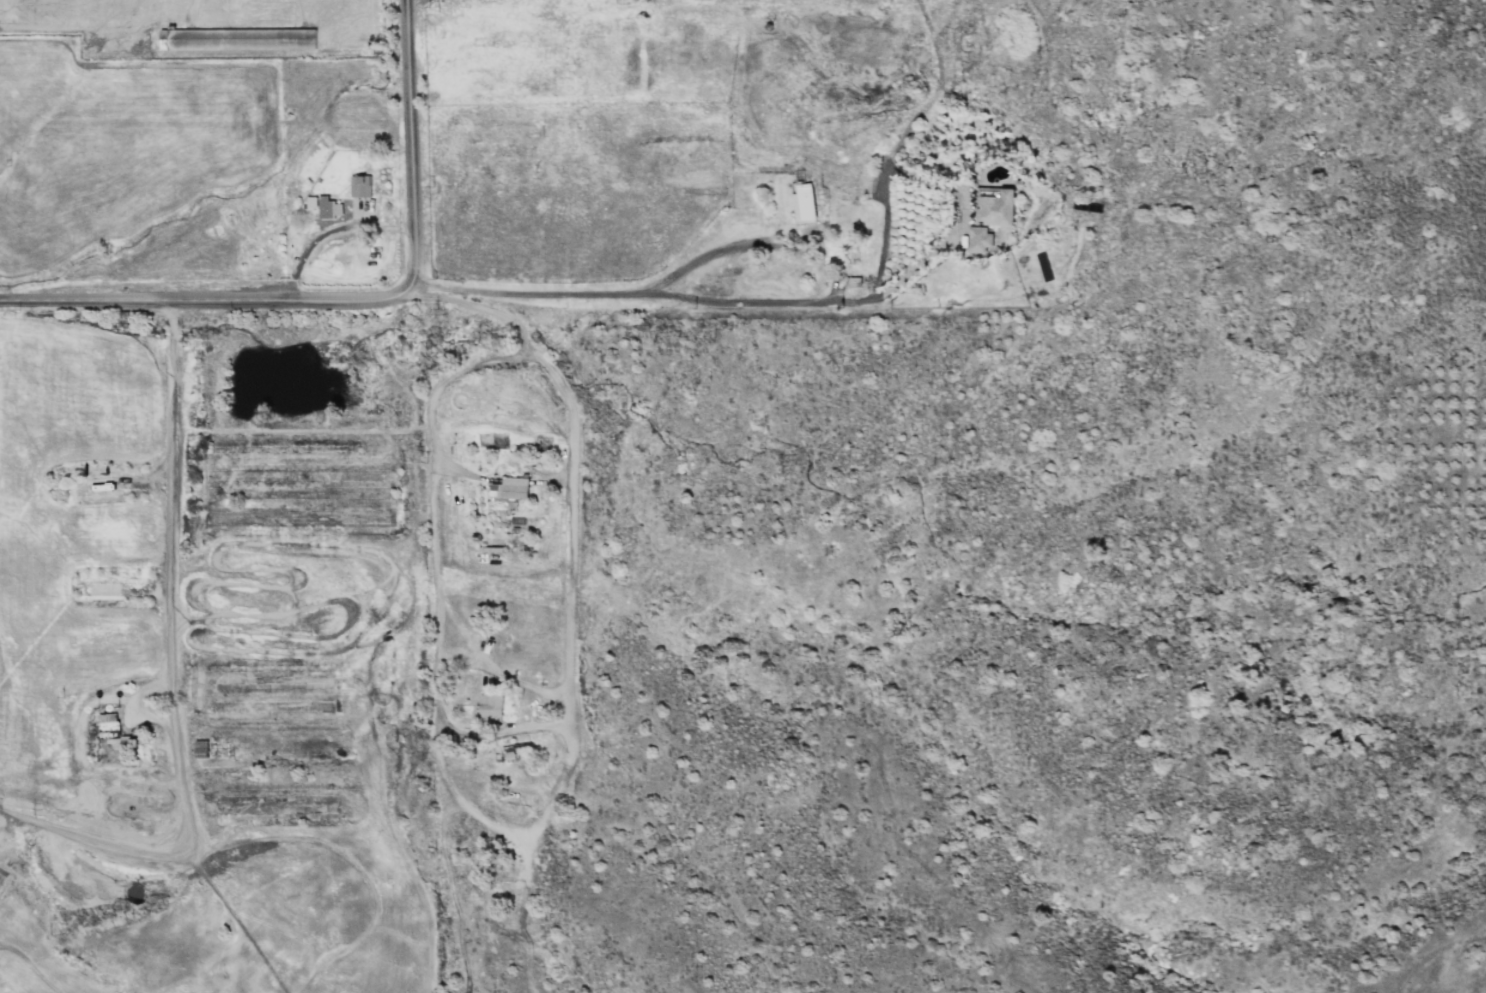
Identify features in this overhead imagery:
building: (625, 0)
road: (409, 146)
building: (359, 185)
building: (802, 201)
building: (328, 207)
building: (994, 207)
road: (958, 223)
road: (328, 230)
building: (978, 238)
road: (724, 249)
road: (879, 260)
road: (378, 294)
building: (509, 488)
road: (165, 672)
road: (562, 687)
building: (489, 706)
building: (112, 731)
road: (468, 804)

